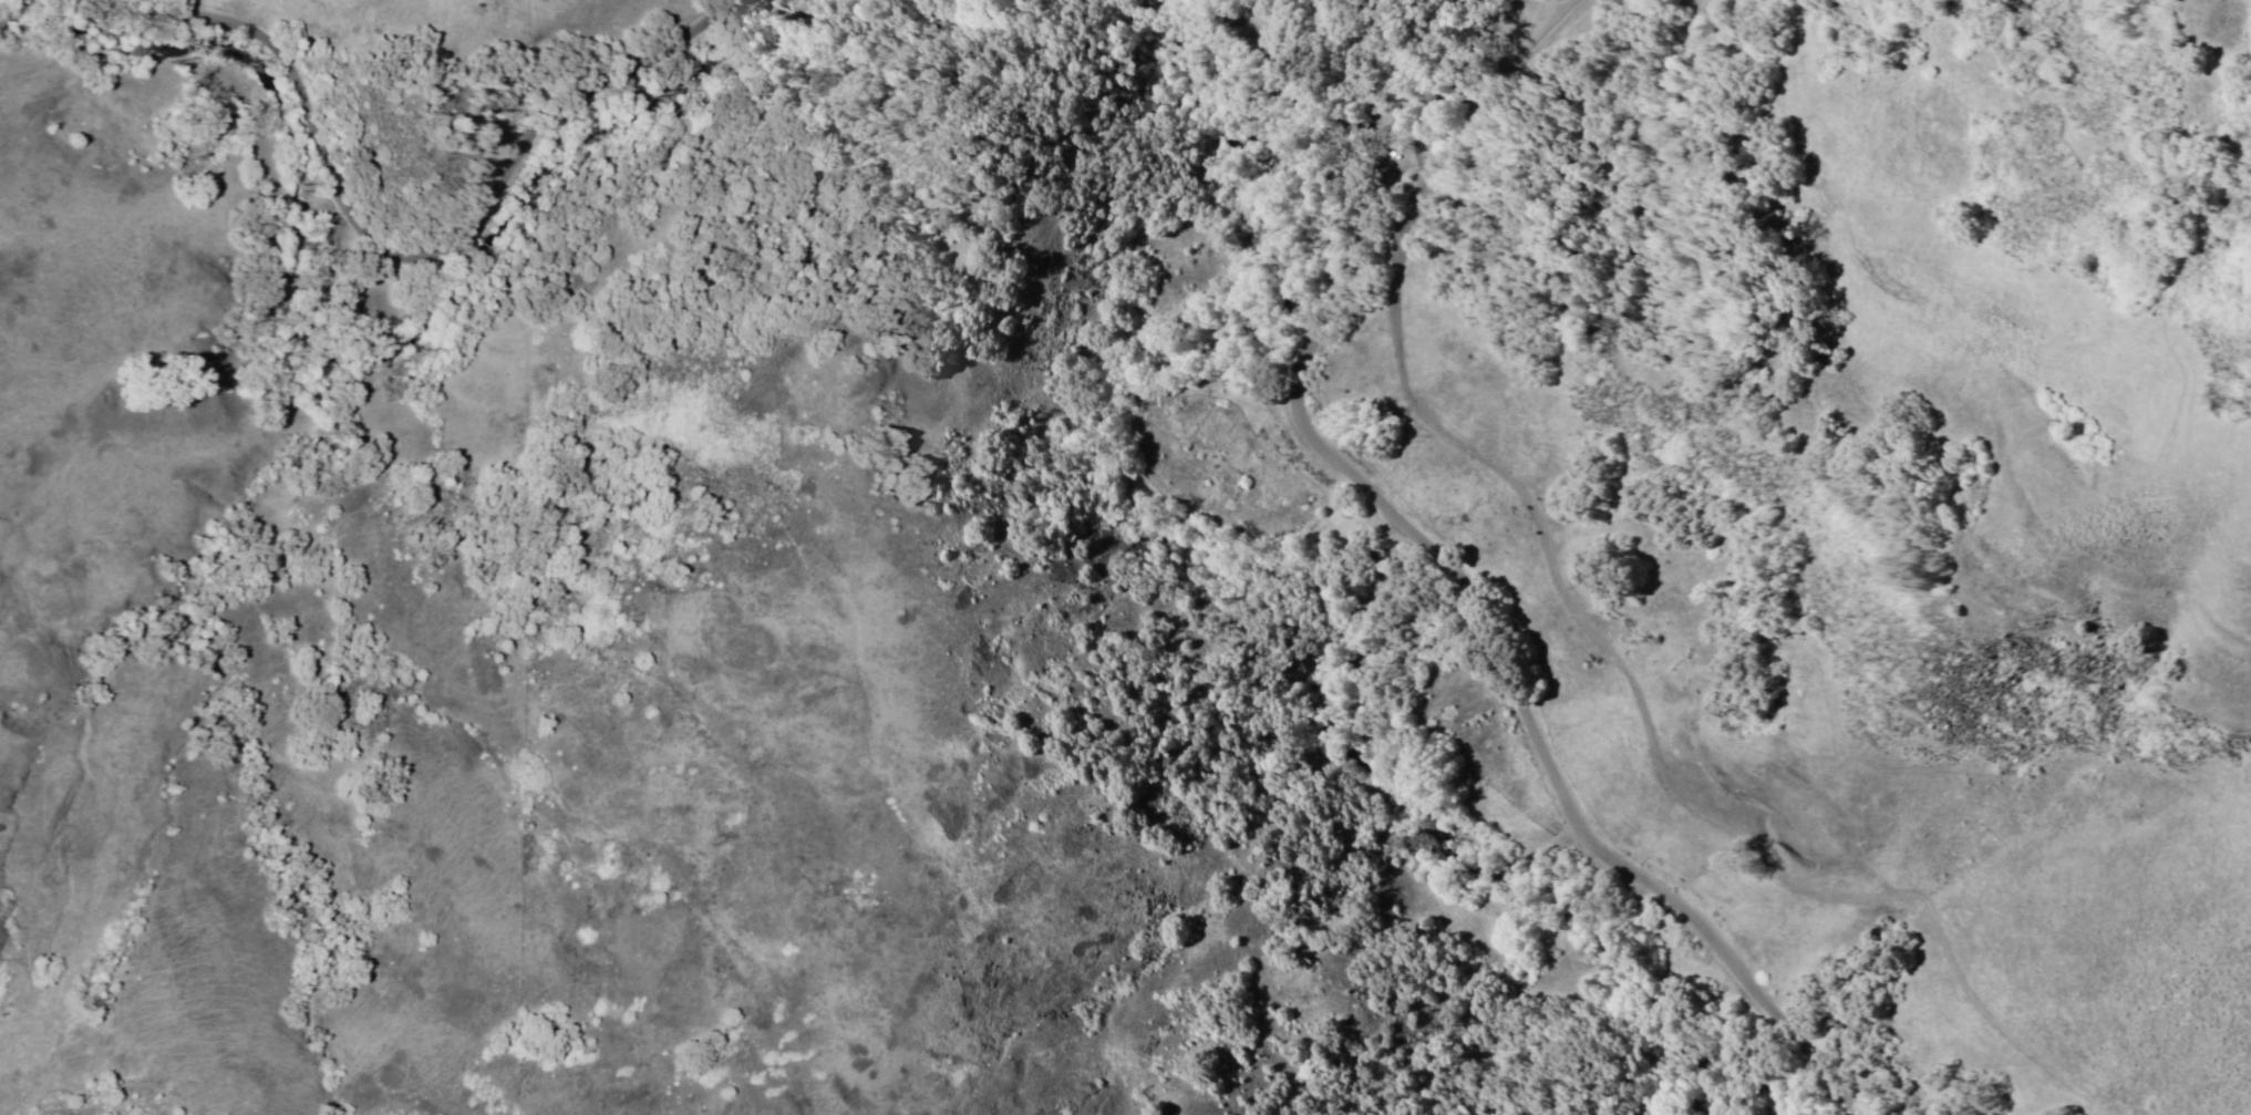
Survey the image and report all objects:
road: (1325, 63)
road: (1481, 87)
road: (431, 252)
building: (1211, 380)
crop: (1228, 469)
road: (1495, 658)
crop: (1490, 739)

